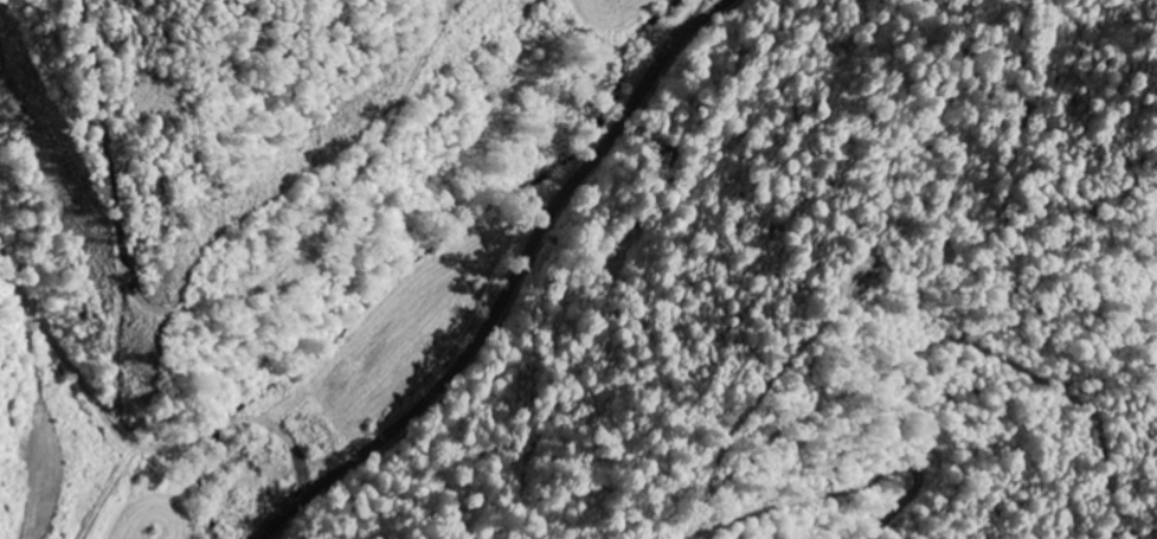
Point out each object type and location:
road: (509, 275)

